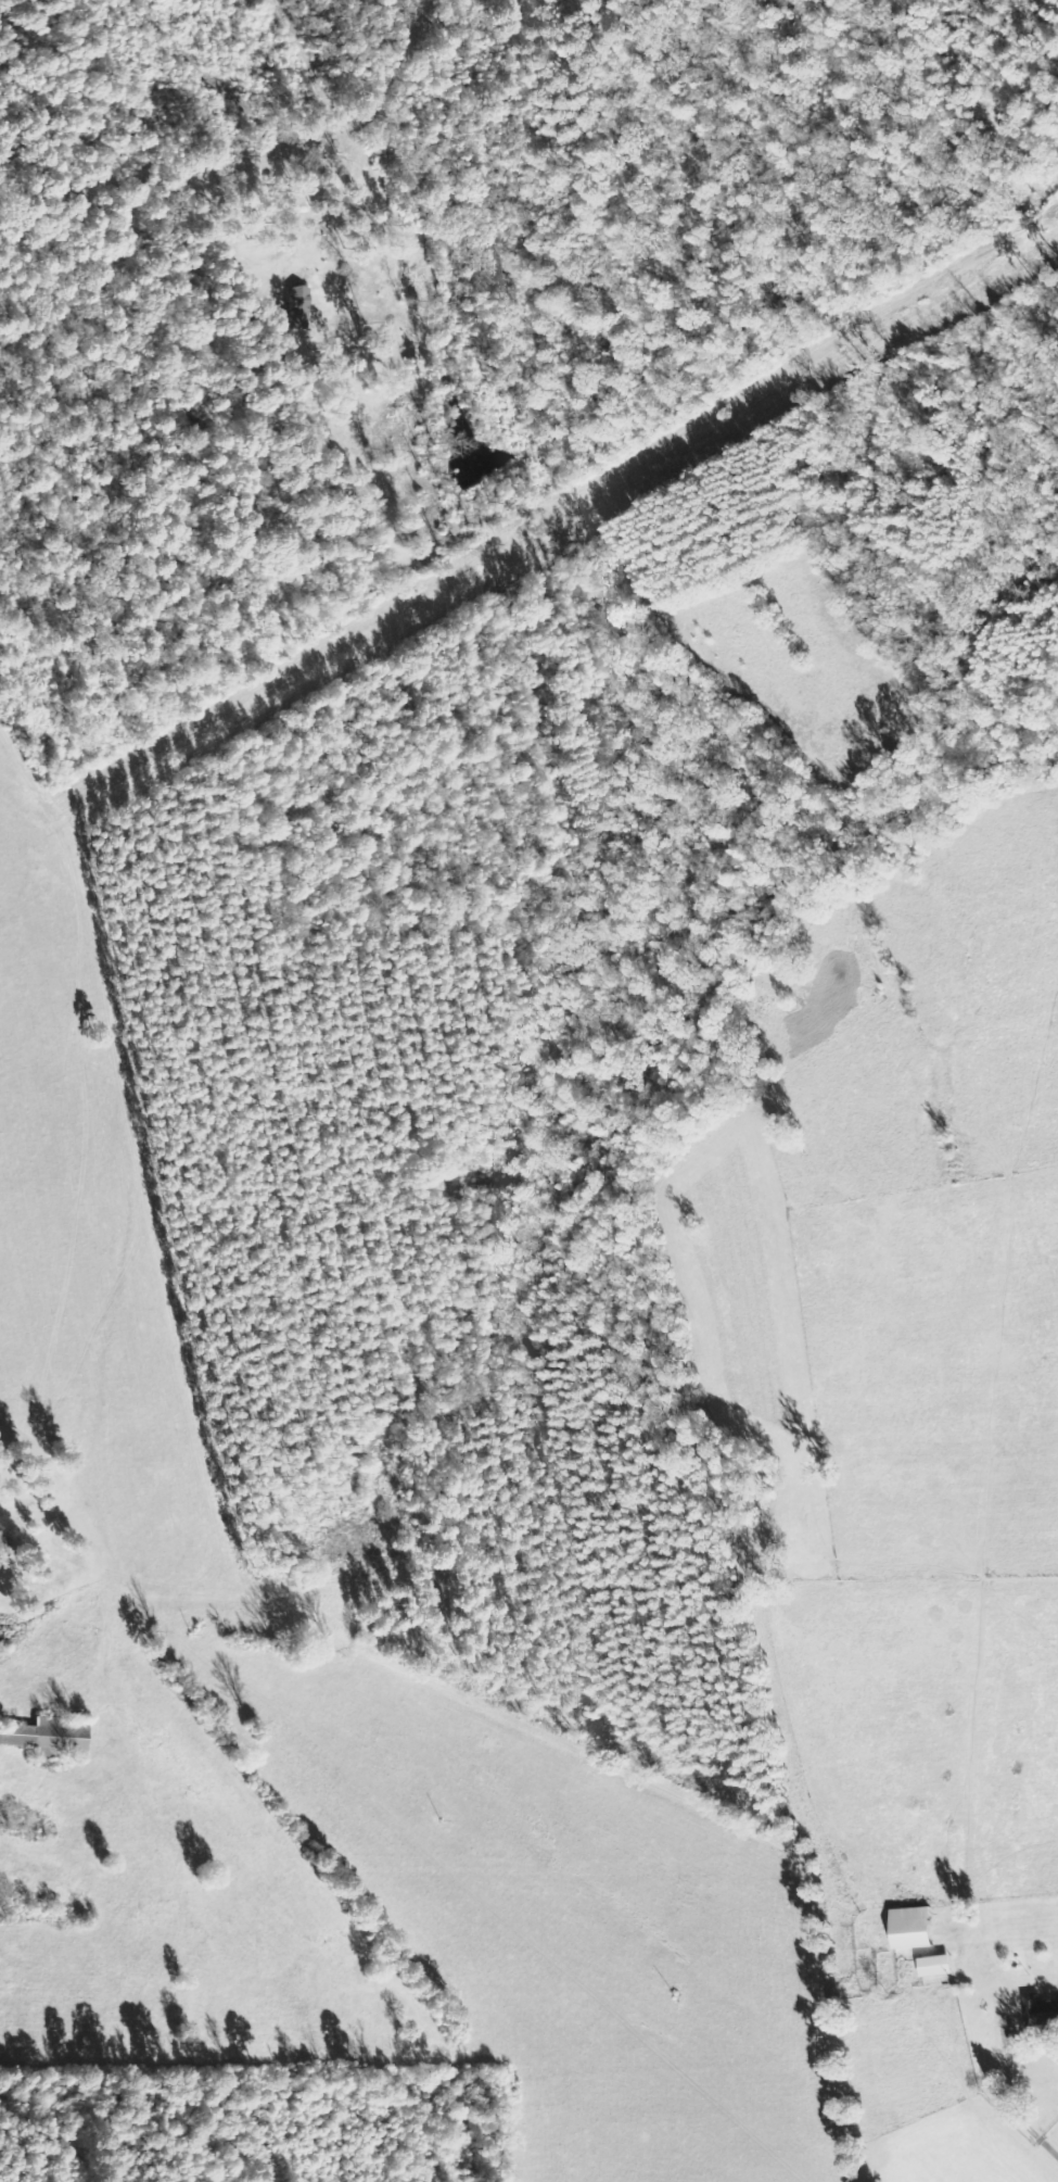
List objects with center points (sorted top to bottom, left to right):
road: (234, 160)
building: (303, 298)
building: (7, 1550)
building: (51, 1735)
building: (917, 1928)
building: (941, 1966)
building: (1043, 2010)
road: (1023, 2121)

